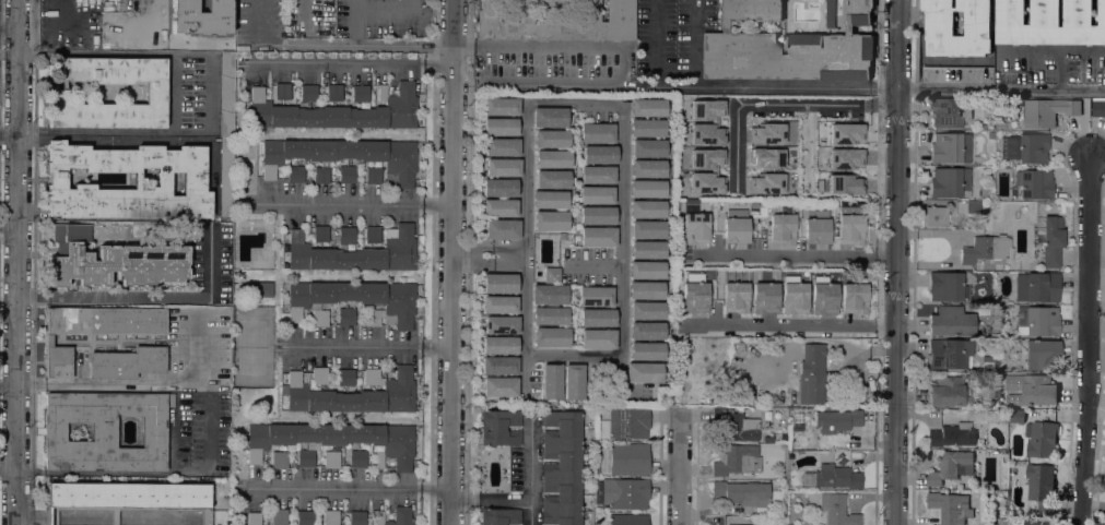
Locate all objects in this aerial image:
road: (354, 4)
road: (387, 10)
road: (301, 13)
building: (554, 20)
building: (1050, 22)
building: (939, 23)
road: (354, 26)
road: (263, 28)
road: (302, 35)
road: (371, 44)
building: (789, 45)
road: (94, 51)
road: (204, 52)
road: (625, 63)
road: (759, 87)
road: (1000, 88)
building: (334, 92)
building: (226, 93)
building: (58, 96)
road: (776, 103)
building: (502, 106)
building: (648, 107)
building: (334, 108)
building: (706, 108)
building: (1098, 108)
building: (1046, 111)
building: (949, 112)
building: (550, 117)
building: (810, 126)
building: (1001, 126)
building: (499, 127)
building: (647, 128)
road: (94, 131)
road: (9, 133)
building: (597, 133)
building: (845, 133)
building: (705, 134)
building: (551, 139)
building: (772, 141)
building: (501, 147)
building: (950, 147)
building: (1025, 147)
building: (648, 148)
building: (600, 154)
building: (763, 157)
building: (845, 157)
building: (553, 158)
building: (813, 163)
building: (388, 164)
building: (503, 167)
building: (648, 168)
building: (705, 170)
building: (295, 175)
building: (598, 175)
building: (225, 177)
building: (552, 179)
building: (193, 180)
building: (950, 182)
building: (764, 183)
building: (1034, 183)
building: (499, 188)
building: (647, 189)
road: (620, 192)
building: (597, 195)
building: (550, 199)
building: (712, 203)
building: (804, 203)
road: (350, 205)
building: (499, 207)
building: (967, 207)
building: (647, 208)
building: (598, 215)
building: (934, 216)
building: (551, 220)
road: (8, 226)
building: (736, 226)
building: (816, 227)
building: (695, 228)
building: (781, 228)
building: (502, 229)
building: (647, 229)
building: (850, 229)
building: (321, 234)
building: (346, 236)
building: (561, 236)
building: (598, 237)
building: (1051, 241)
road: (480, 247)
road: (953, 247)
building: (986, 249)
building: (648, 250)
building: (356, 251)
road: (792, 255)
road: (883, 255)
building: (113, 261)
road: (479, 261)
road: (16, 262)
road: (455, 262)
road: (894, 262)
road: (599, 265)
building: (646, 270)
building: (551, 275)
building: (499, 283)
building: (944, 286)
building: (1036, 287)
building: (260, 289)
building: (646, 290)
building: (693, 293)
building: (549, 294)
building: (595, 296)
building: (792, 296)
building: (822, 296)
building: (853, 296)
building: (733, 297)
building: (764, 297)
road: (33, 298)
road: (157, 298)
building: (358, 300)
building: (499, 305)
building: (647, 310)
building: (345, 315)
building: (550, 315)
building: (320, 318)
building: (598, 318)
building: (950, 321)
building: (1037, 321)
building: (501, 324)
road: (796, 324)
building: (94, 330)
building: (647, 330)
building: (551, 336)
building: (598, 338)
road: (1088, 338)
road: (372, 344)
building: (499, 345)
building: (647, 350)
building: (948, 354)
building: (1042, 355)
building: (127, 362)
building: (499, 366)
building: (644, 372)
building: (811, 374)
building: (319, 375)
road: (136, 382)
building: (552, 382)
building: (574, 382)
building: (499, 386)
building: (1031, 390)
building: (949, 392)
building: (353, 393)
building: (1016, 417)
building: (837, 421)
building: (625, 423)
building: (736, 425)
building: (501, 427)
building: (105, 431)
building: (952, 435)
building: (1042, 439)
building: (332, 443)
building: (630, 458)
building: (737, 461)
building: (951, 466)
building: (562, 468)
road: (677, 468)
road: (7, 469)
road: (529, 469)
road: (144, 474)
building: (832, 477)
building: (1041, 487)
road: (338, 489)
road: (439, 490)
building: (622, 493)
building: (743, 493)
road: (492, 498)
building: (127, 499)
building: (953, 506)
building: (836, 510)
building: (280, 516)
building: (395, 516)
building: (501, 516)
building: (305, 517)
building: (332, 517)
building: (356, 517)
building: (254, 518)
building: (628, 520)
building: (1002, 522)
building: (1036, 522)
building: (1104, 523)
building: (728, 524)

